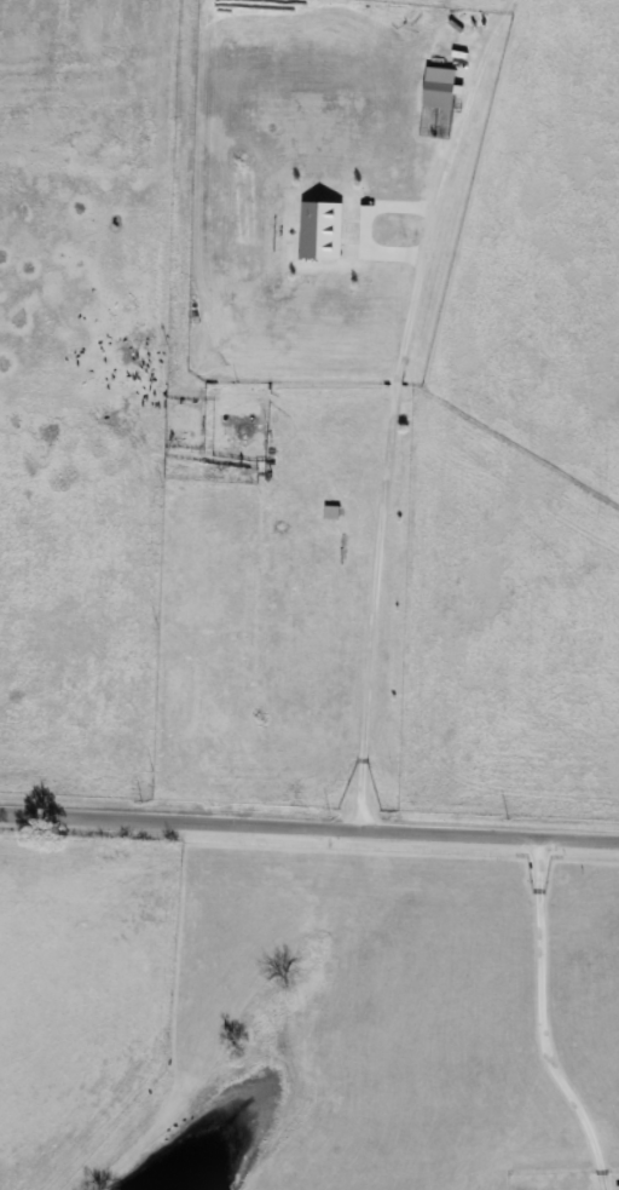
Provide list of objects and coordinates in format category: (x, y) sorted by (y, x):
building: (438, 97)
road: (397, 407)
road: (309, 828)
road: (542, 1021)

